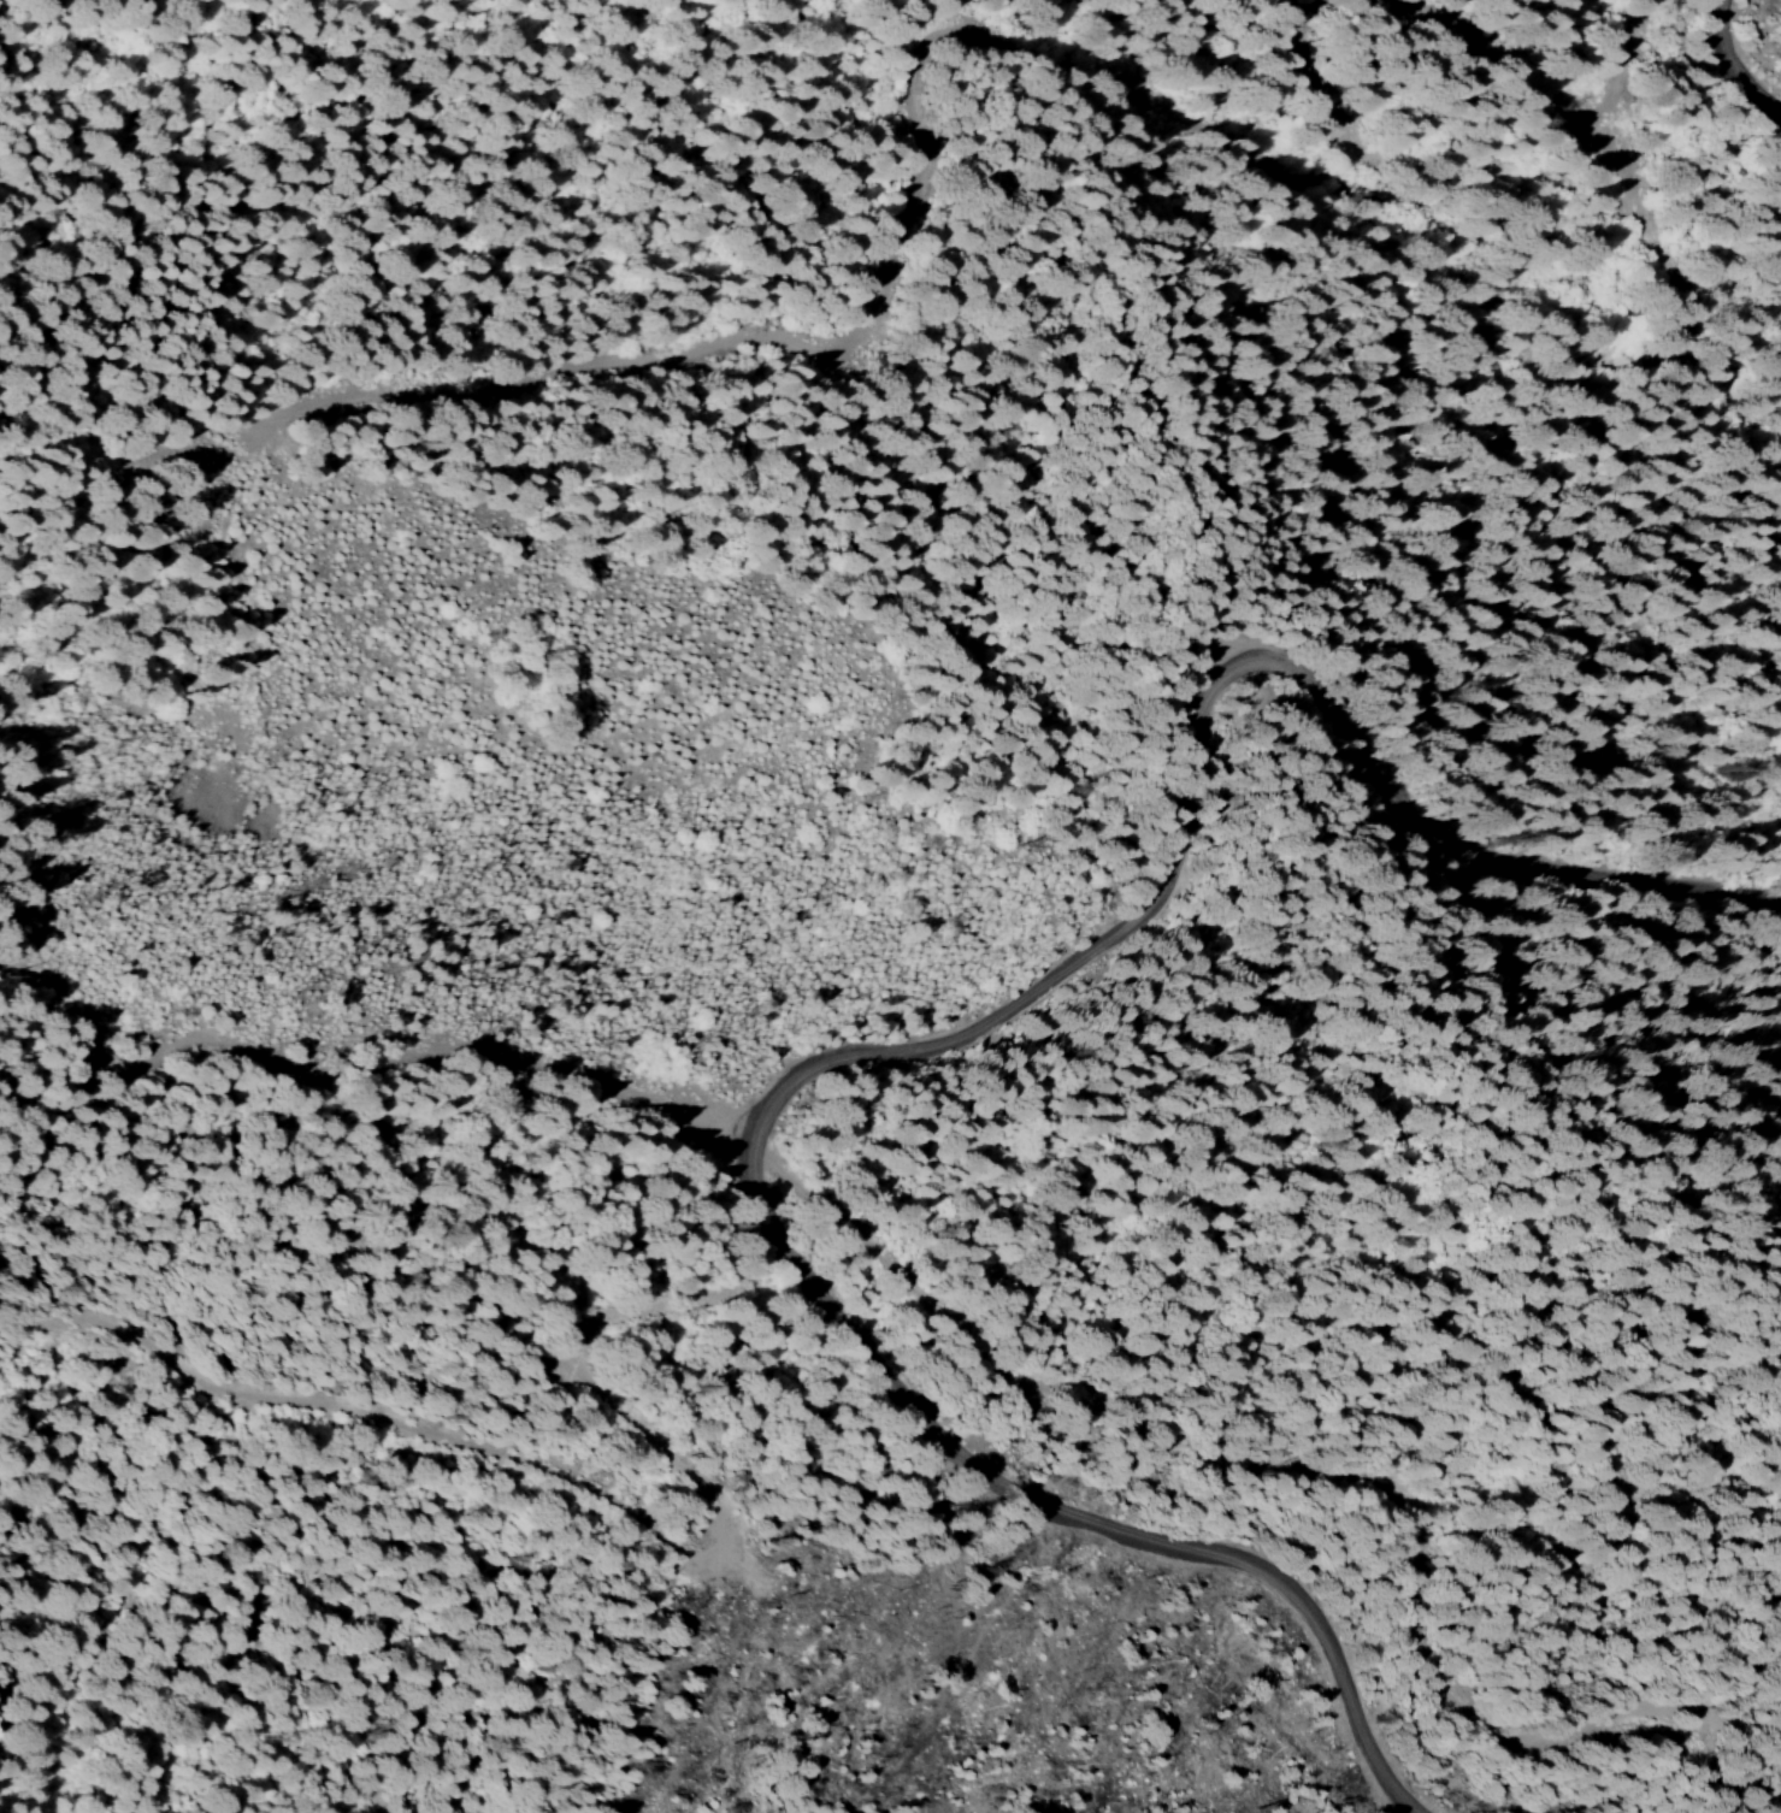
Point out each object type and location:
road: (1732, 70)
road: (898, 1057)

